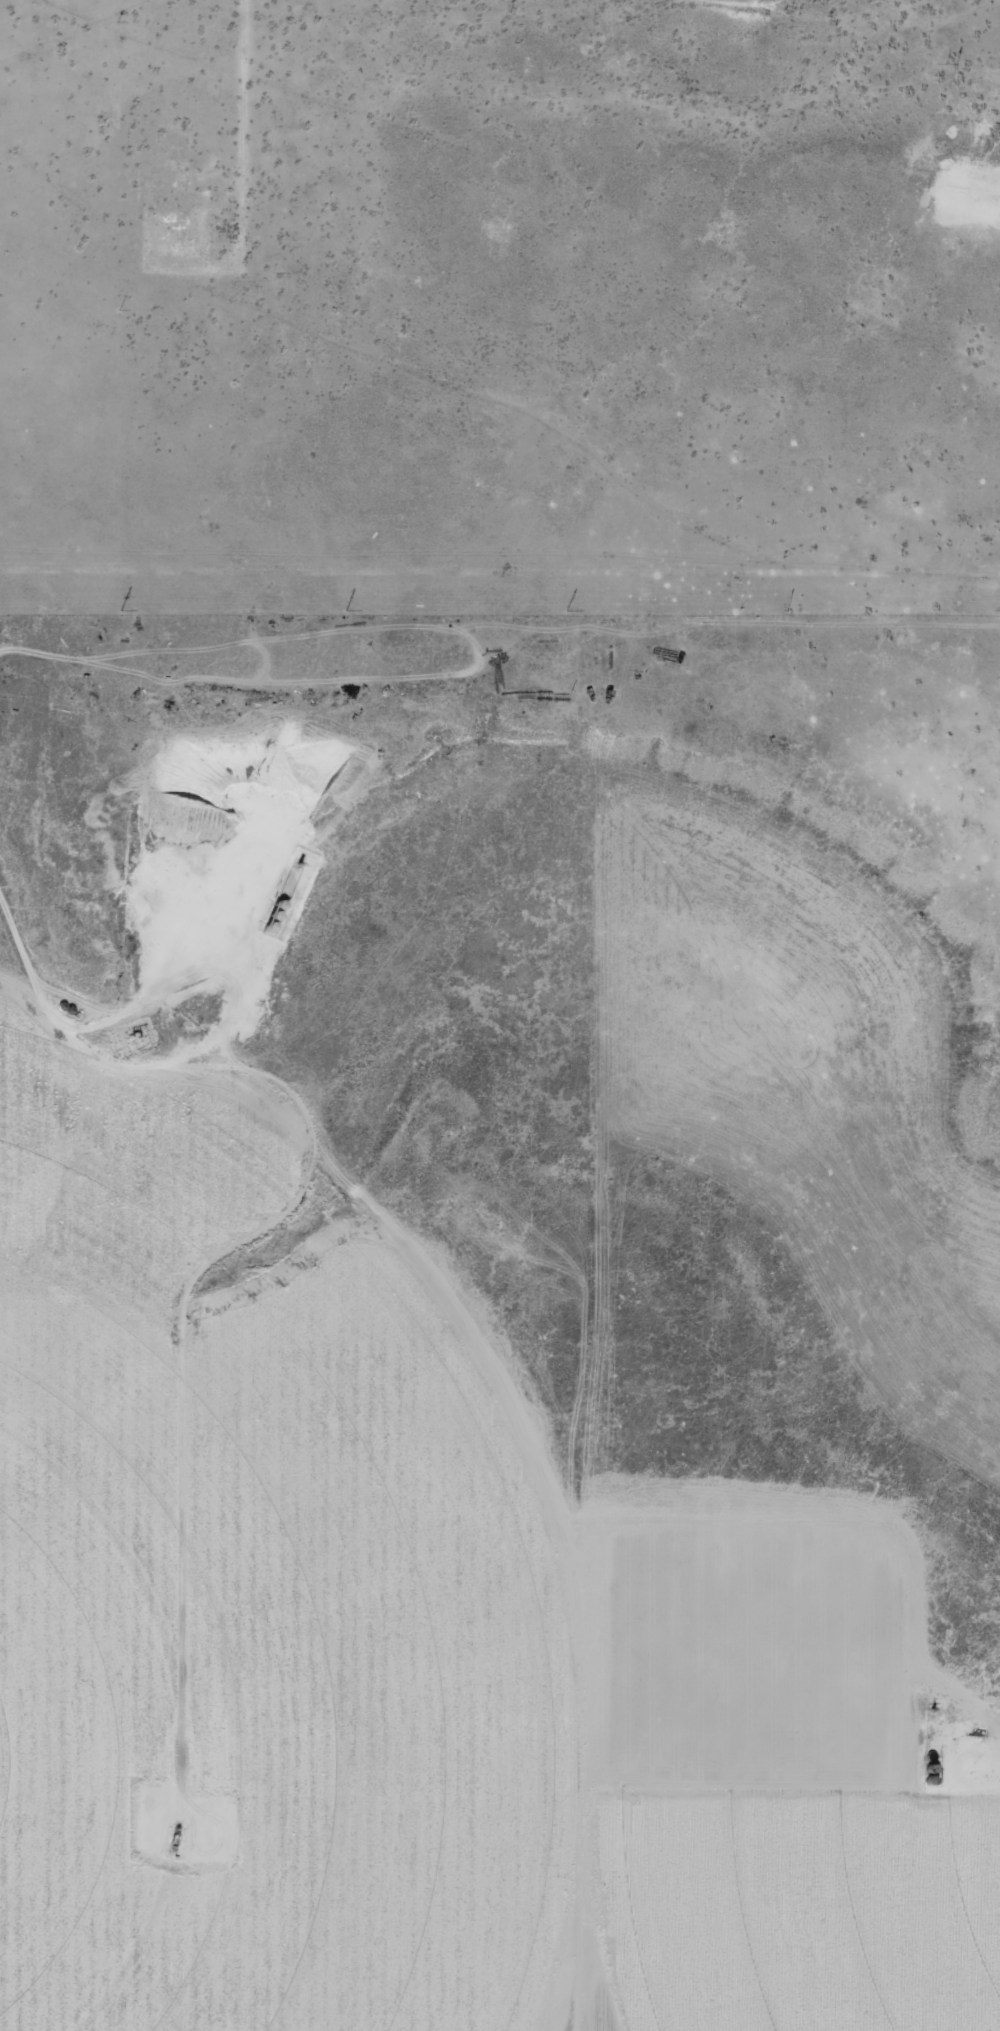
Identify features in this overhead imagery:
road: (245, 88)
road: (989, 226)

